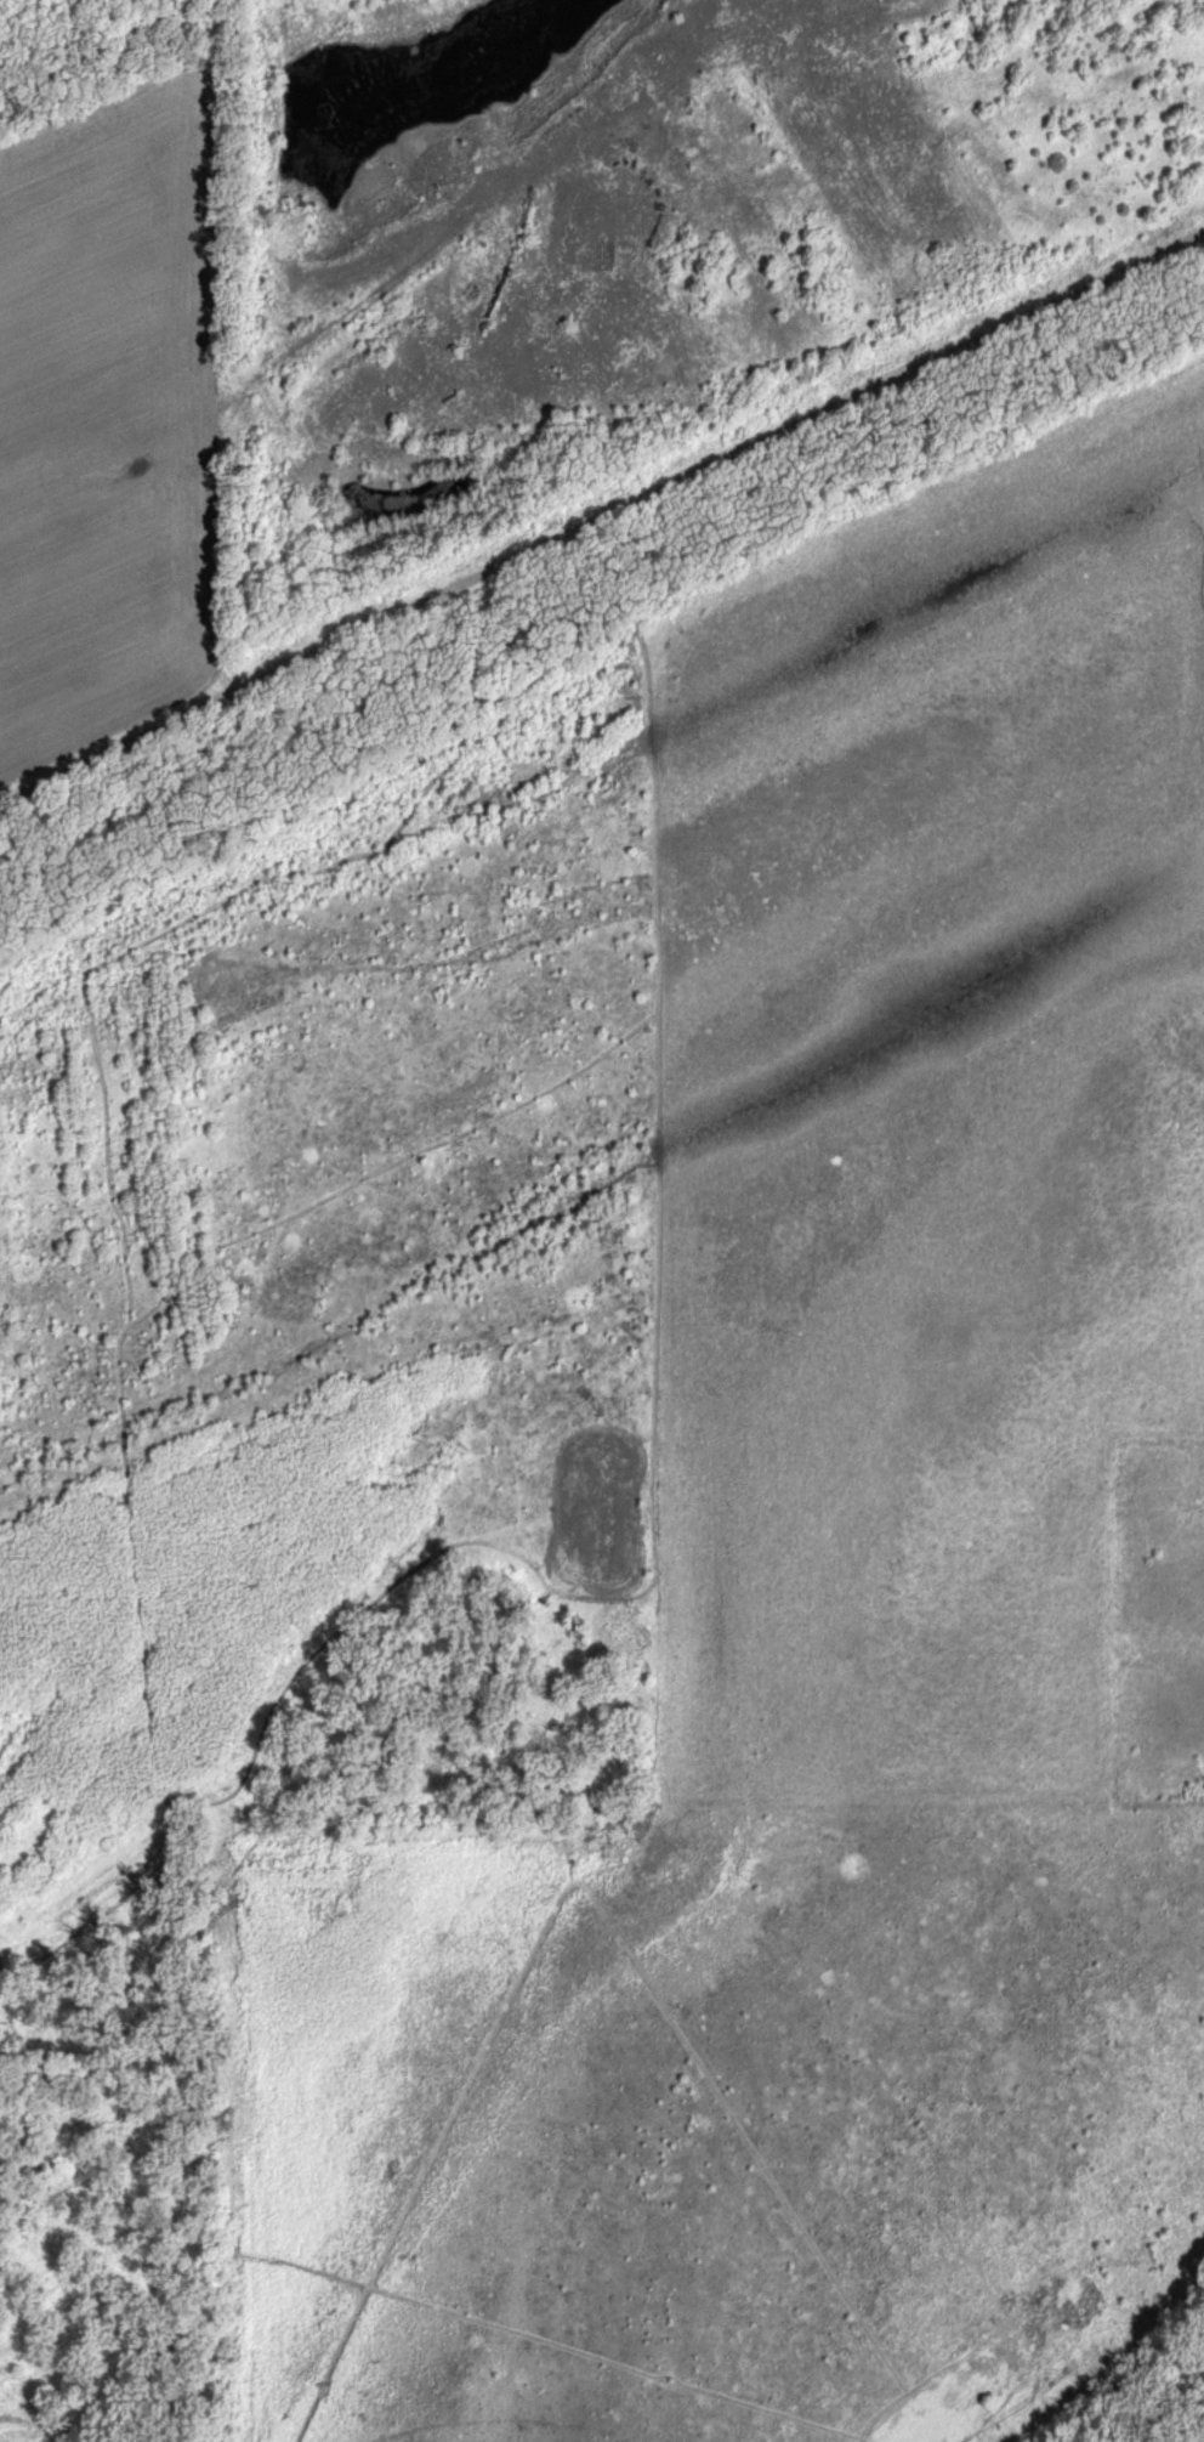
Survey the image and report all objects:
road: (602, 514)

